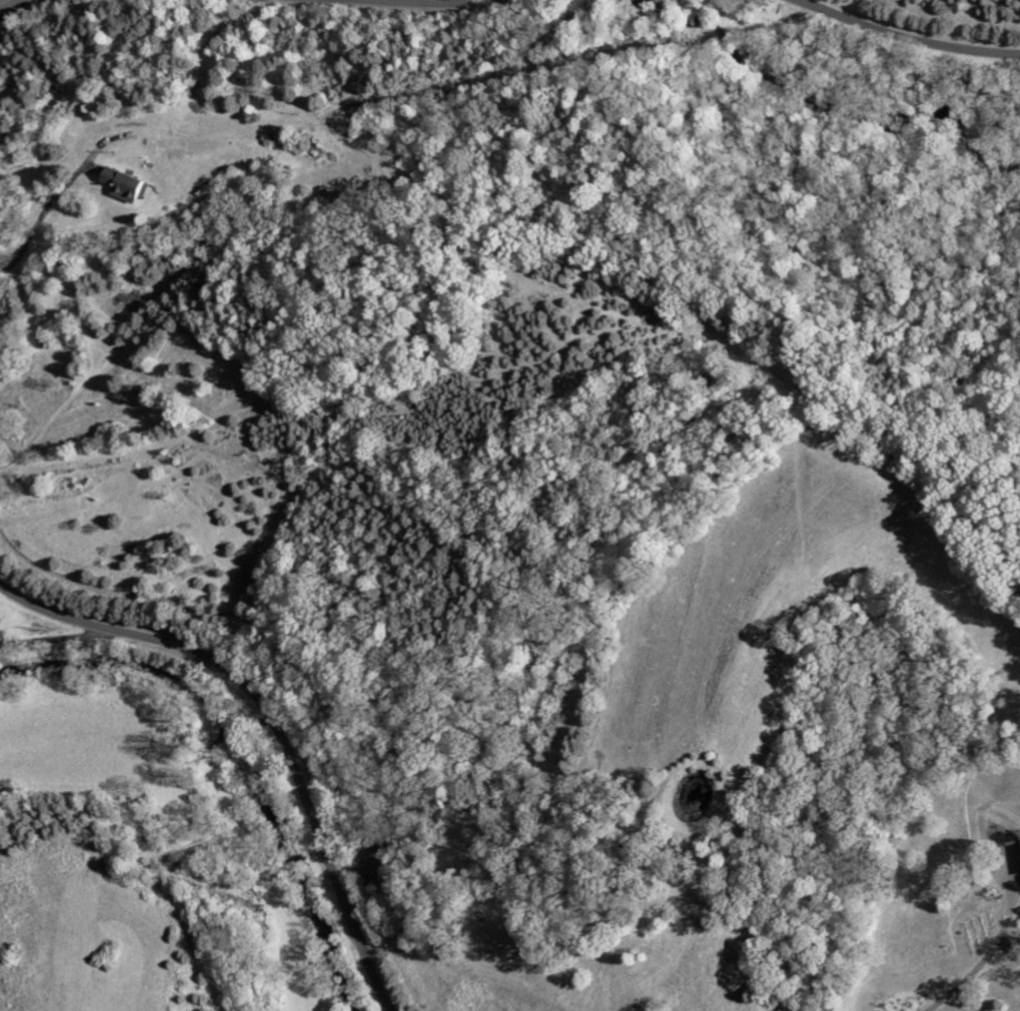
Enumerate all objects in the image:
road: (413, 2)
road: (8, 4)
road: (904, 37)
building: (124, 184)
road: (99, 529)
road: (272, 721)
road: (983, 960)

